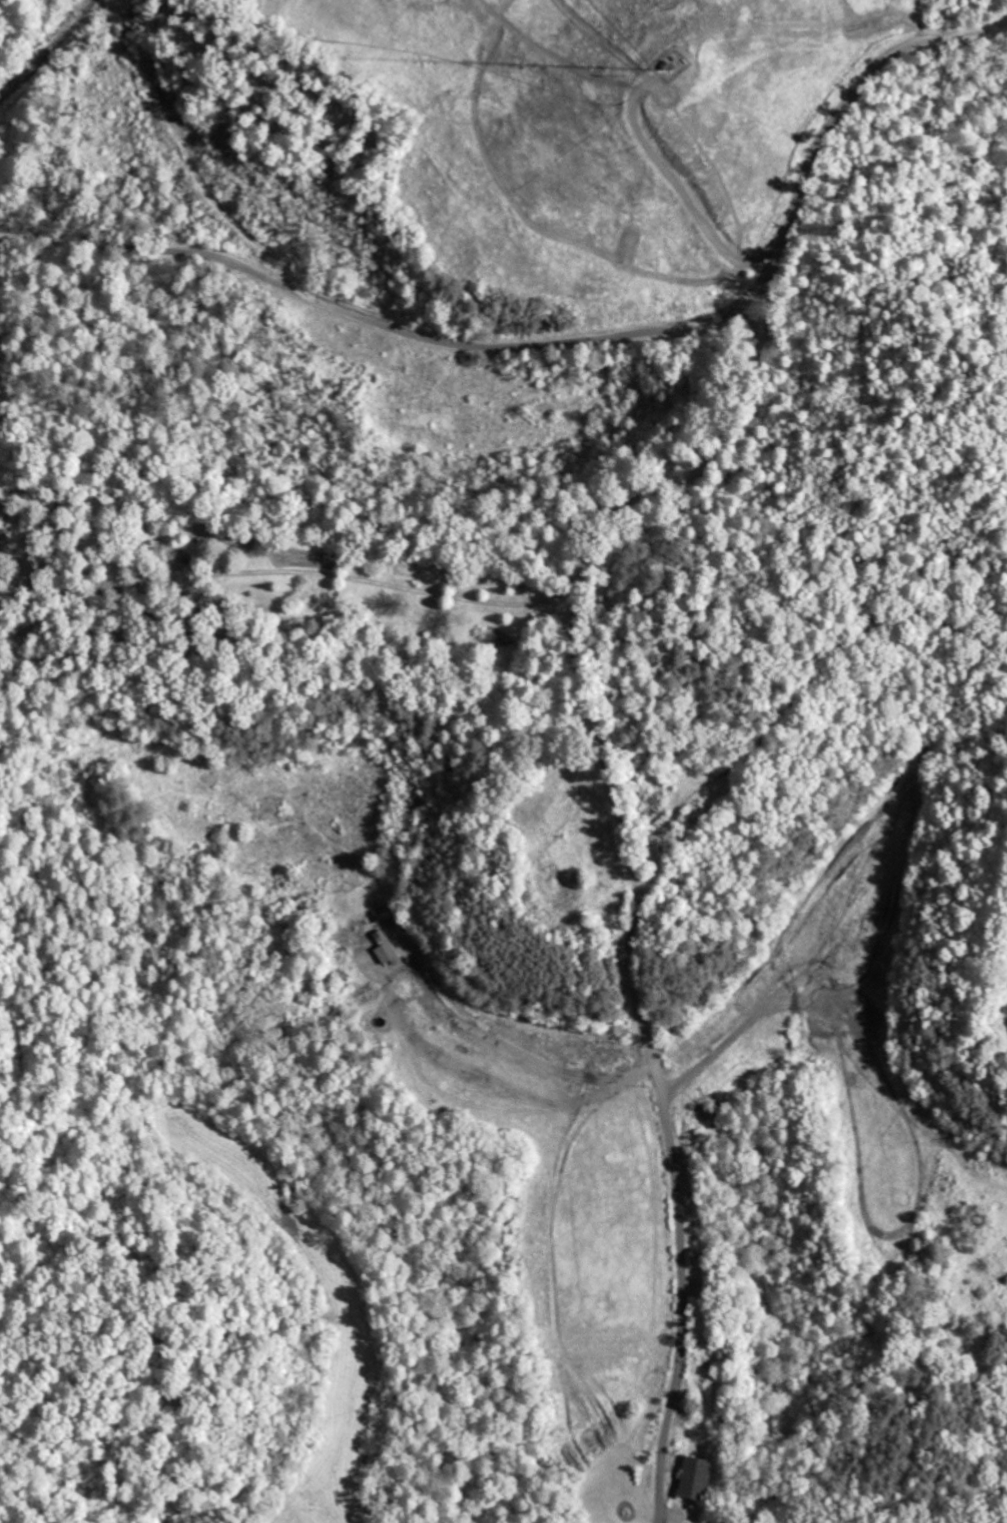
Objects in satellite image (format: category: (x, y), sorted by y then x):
road: (575, 339)
building: (0, 538)
road: (284, 570)
road: (532, 602)
road: (631, 854)
building: (392, 955)
building: (690, 1477)

